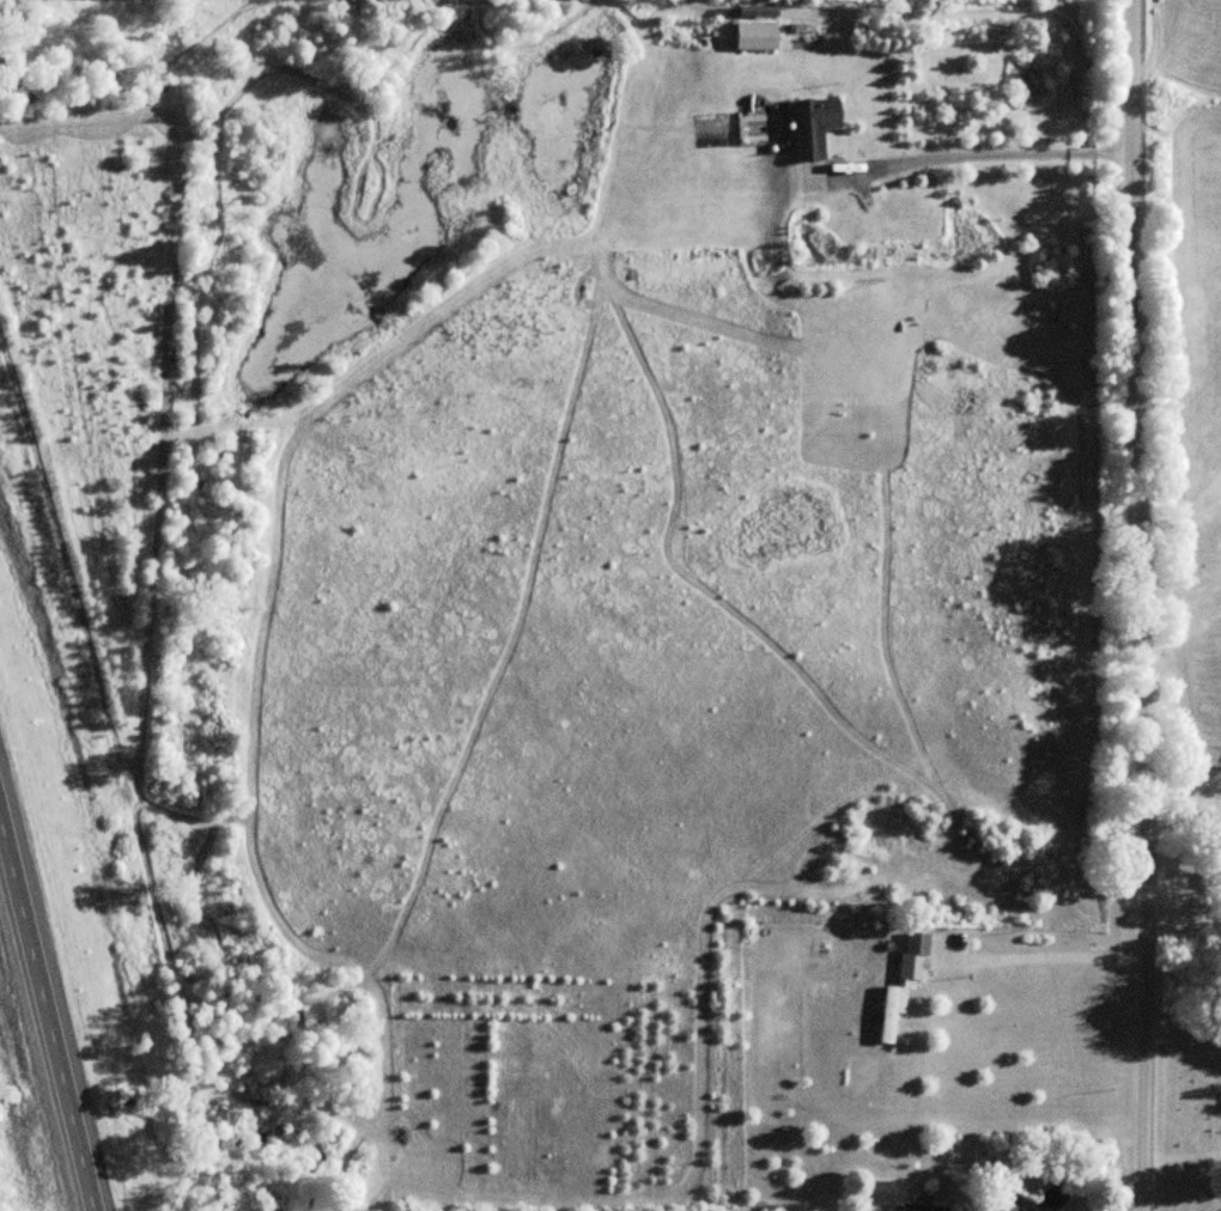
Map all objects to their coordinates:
building: (754, 36)
building: (813, 126)
road: (967, 157)
road: (1180, 592)
road: (1138, 604)
building: (901, 982)
road: (37, 1022)
park: (1191, 1090)
building: (877, 1192)
building: (923, 1207)

